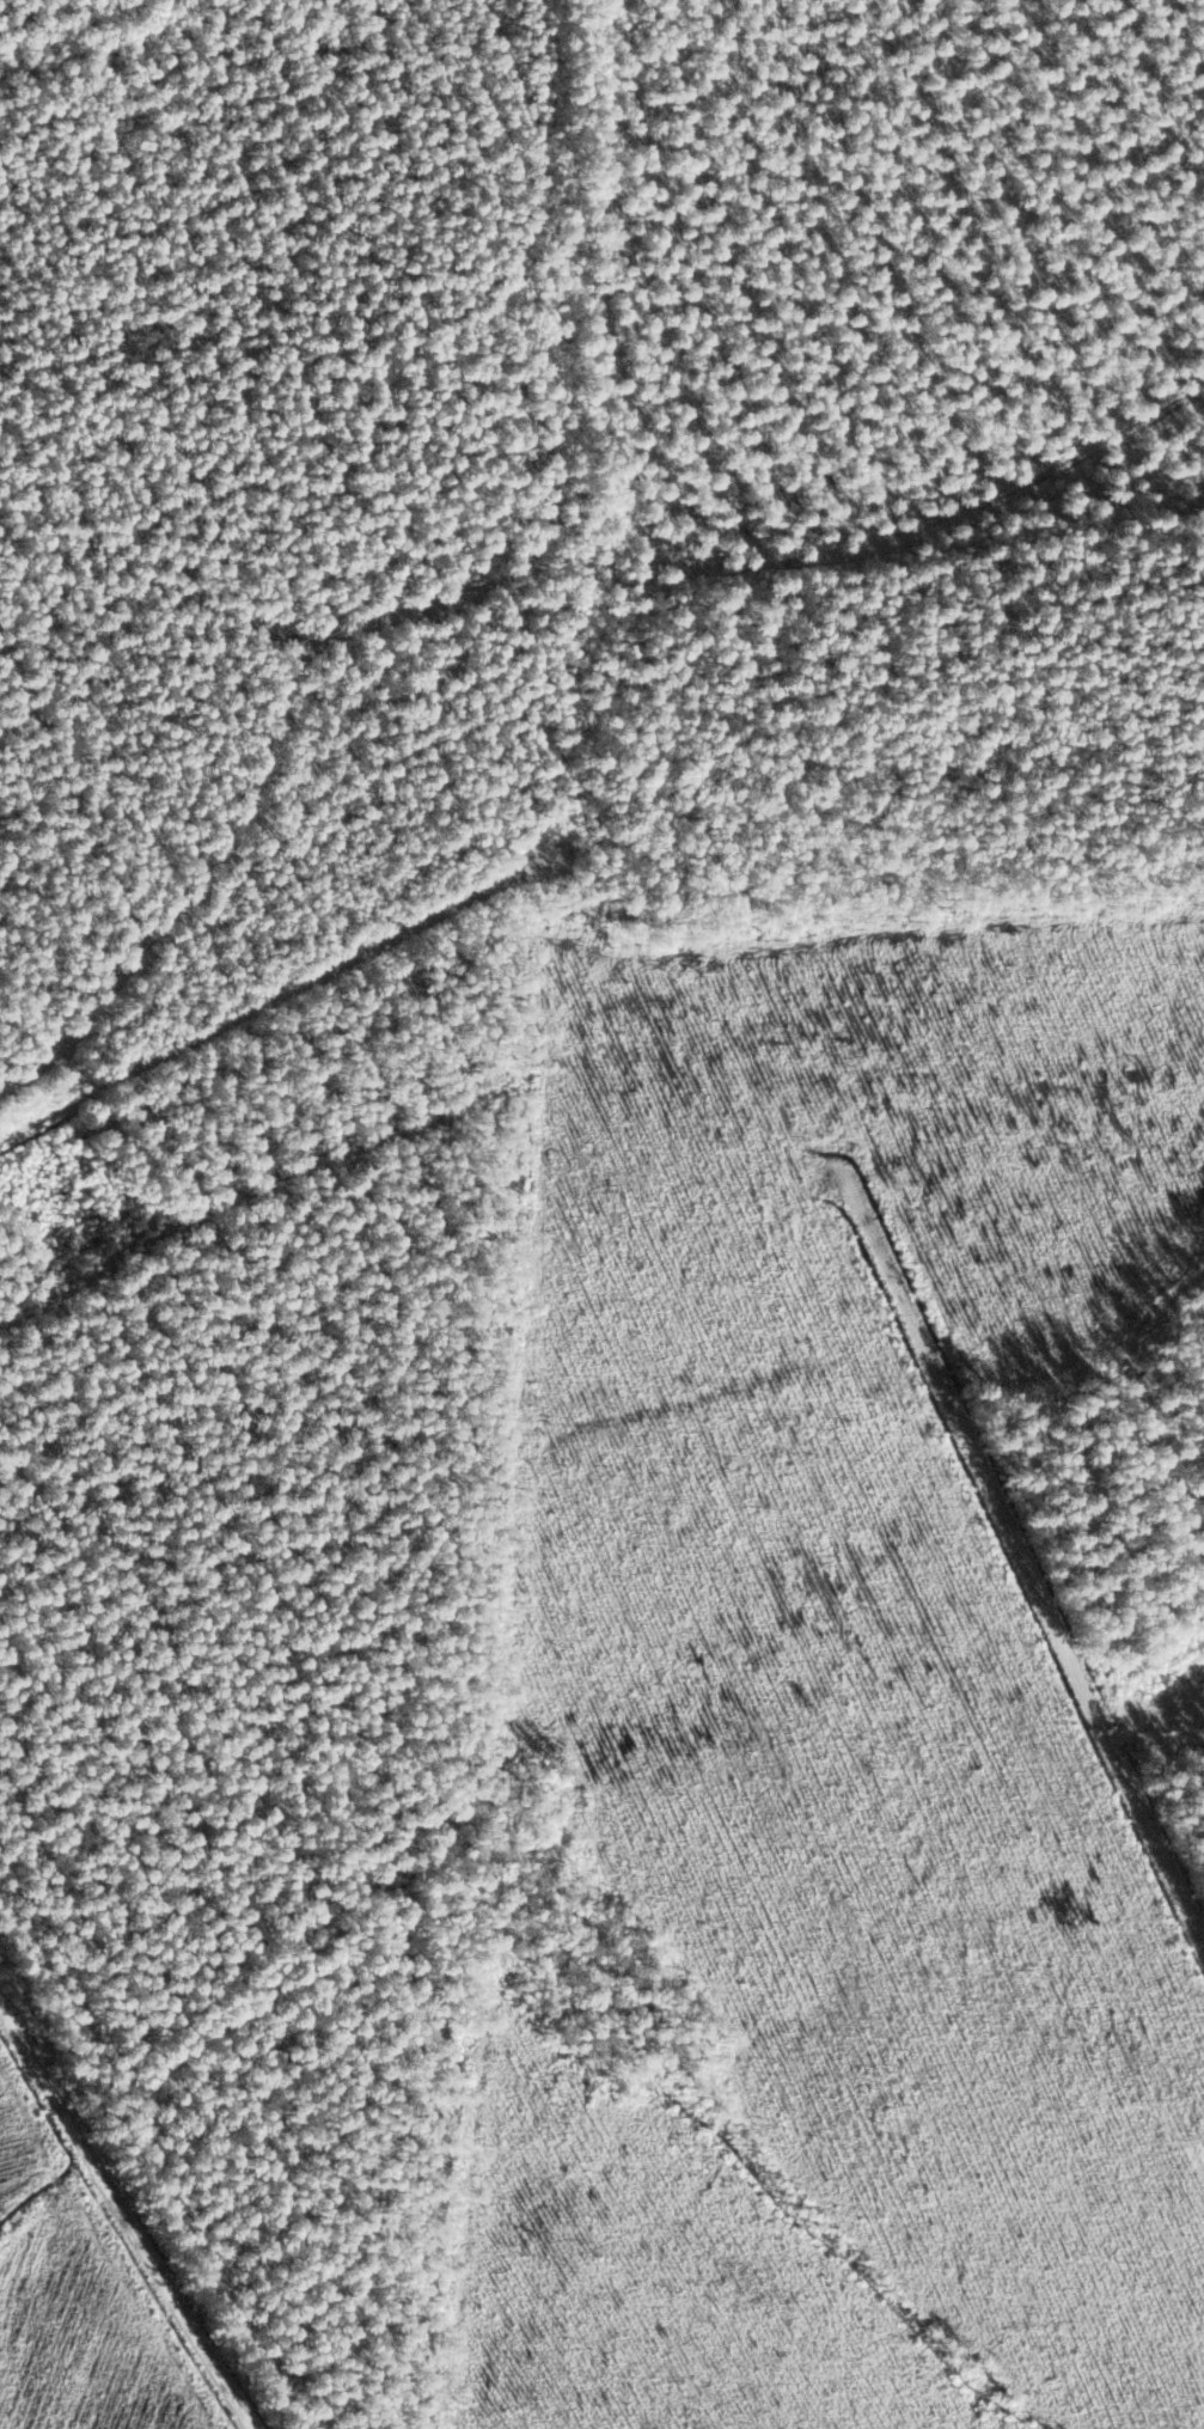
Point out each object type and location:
road: (267, 981)
road: (1076, 1530)
road: (130, 2208)

